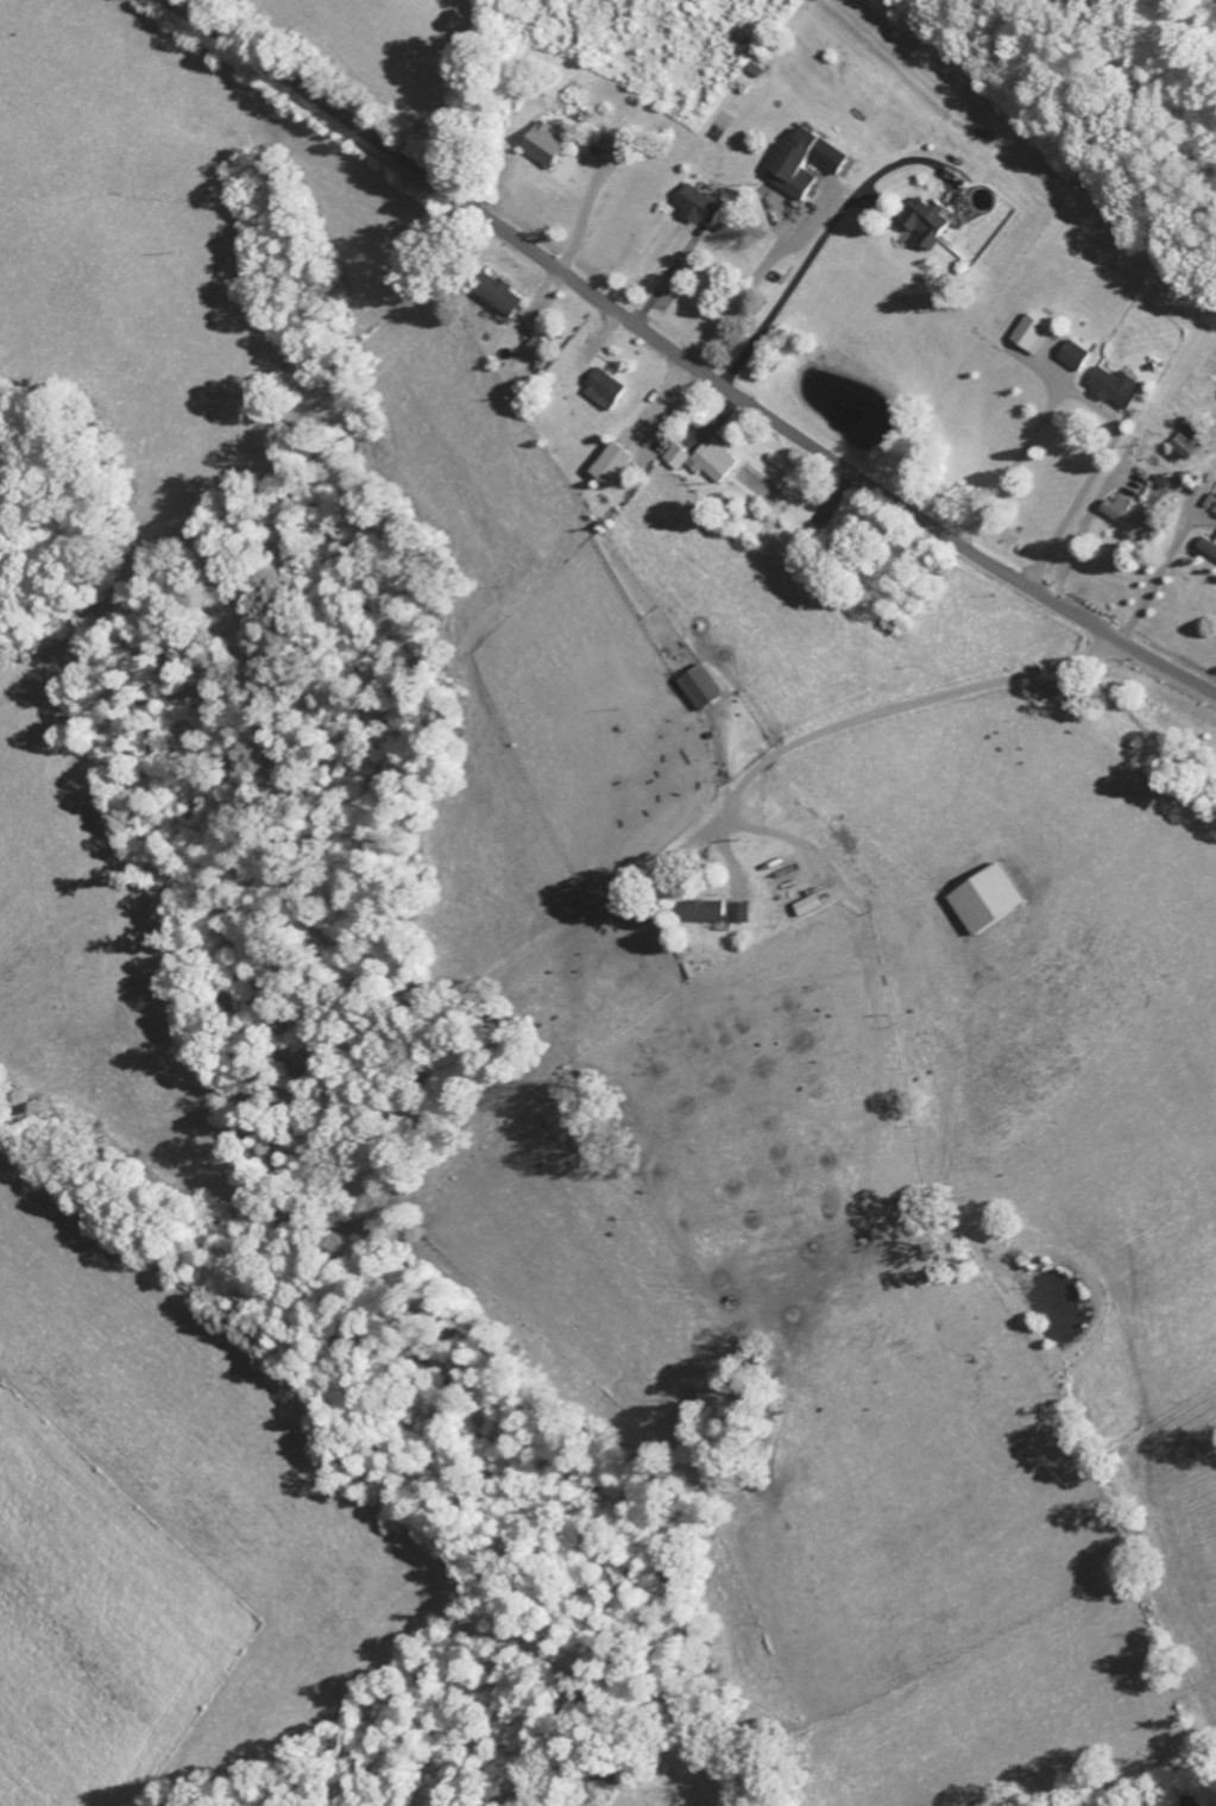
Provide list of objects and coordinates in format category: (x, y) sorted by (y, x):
building: (548, 150)
building: (805, 166)
building: (698, 209)
building: (930, 226)
building: (499, 300)
building: (1032, 338)
building: (537, 348)
building: (1075, 359)
road: (682, 360)
building: (1115, 390)
building: (603, 394)
building: (702, 465)
building: (612, 468)
building: (1214, 492)
building: (1129, 523)
building: (1206, 550)
building: (702, 692)
road: (896, 717)
building: (988, 904)
building: (704, 915)
building: (738, 915)

